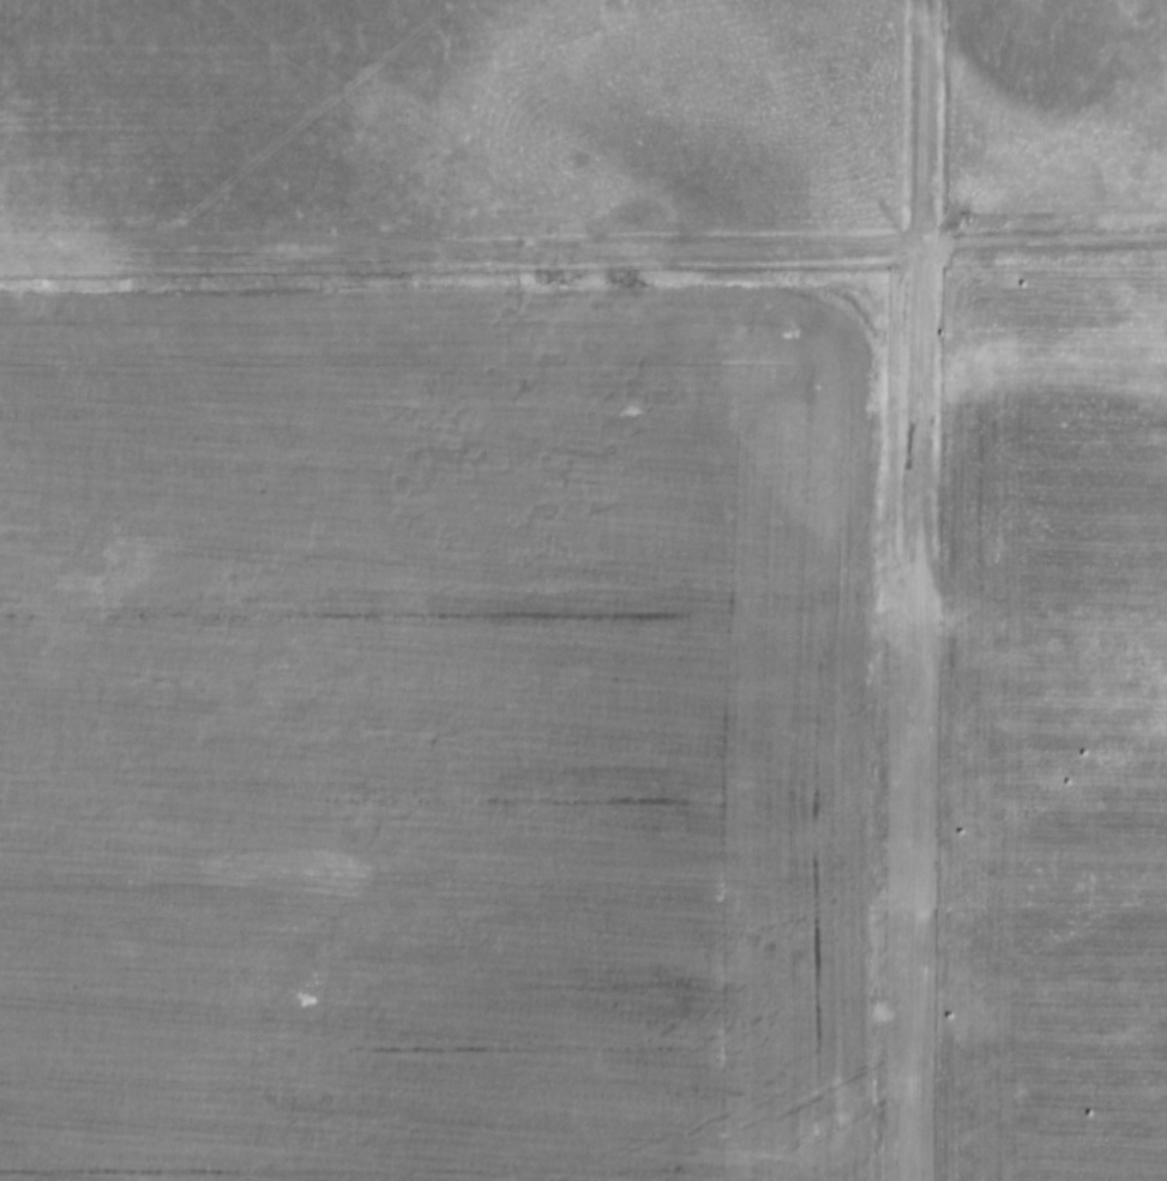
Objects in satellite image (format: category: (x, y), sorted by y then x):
road: (924, 125)
road: (1047, 247)

